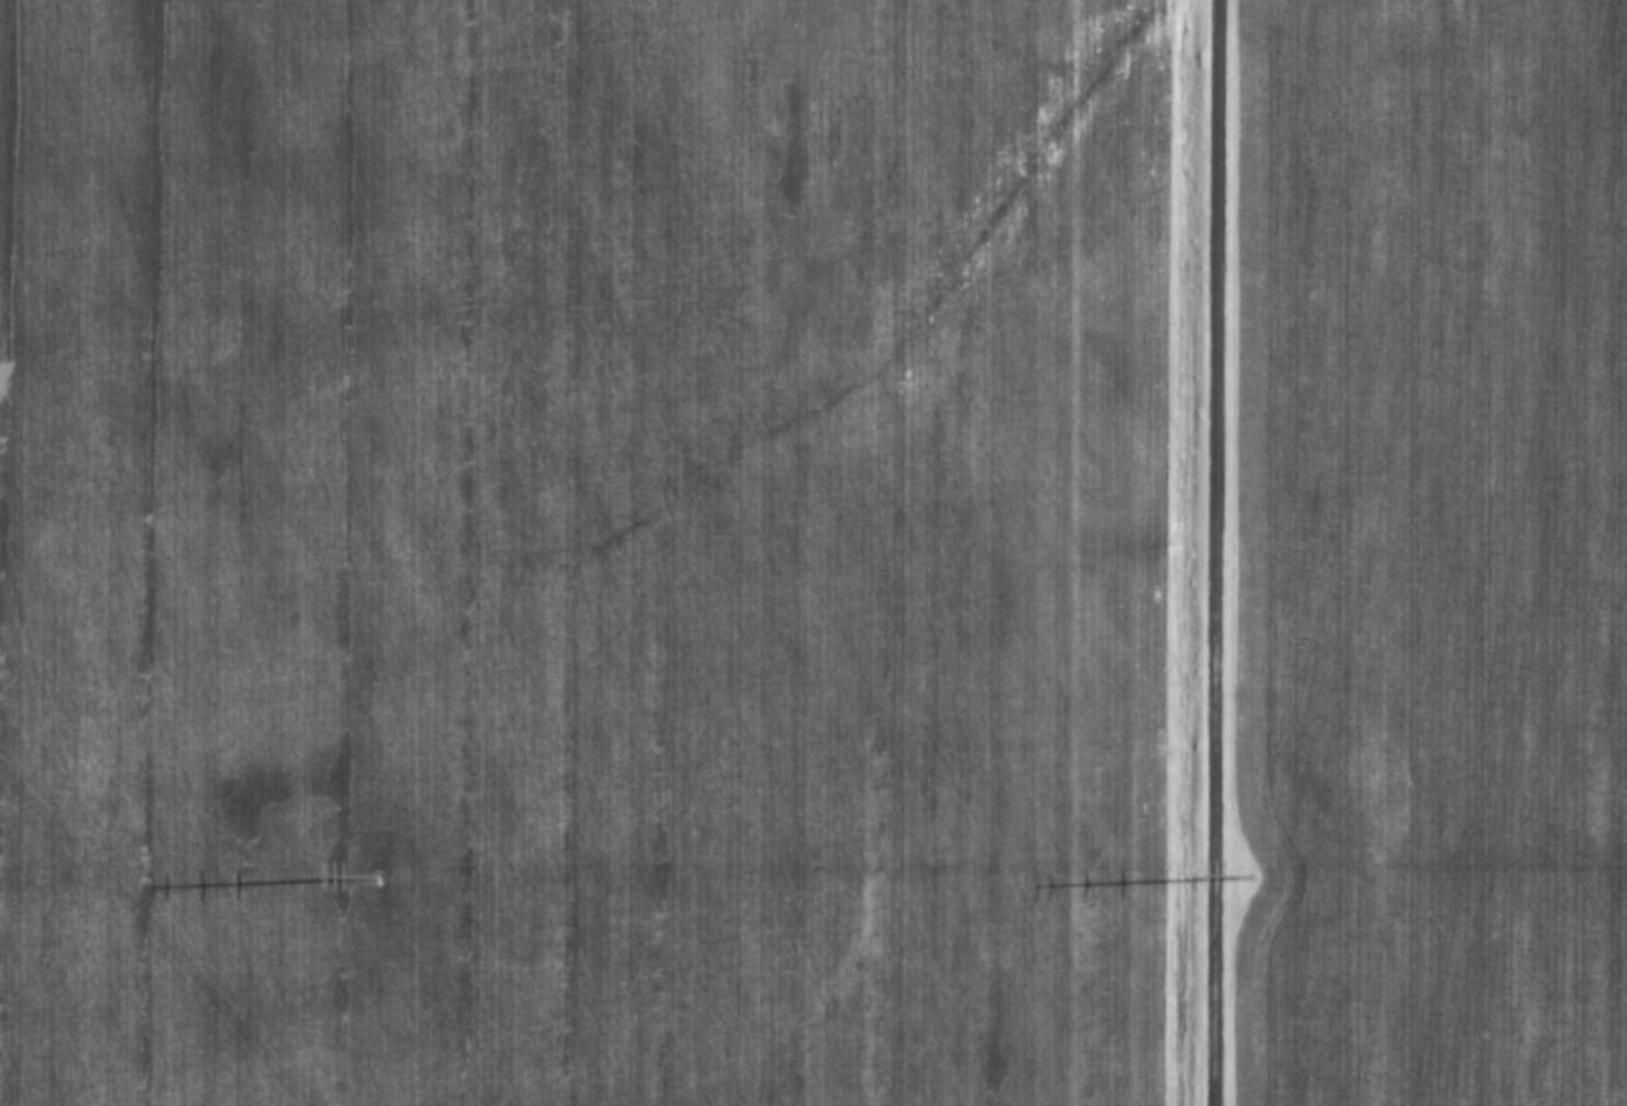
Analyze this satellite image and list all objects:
road: (1221, 553)
power tower: (378, 877)
power tower: (1252, 877)

